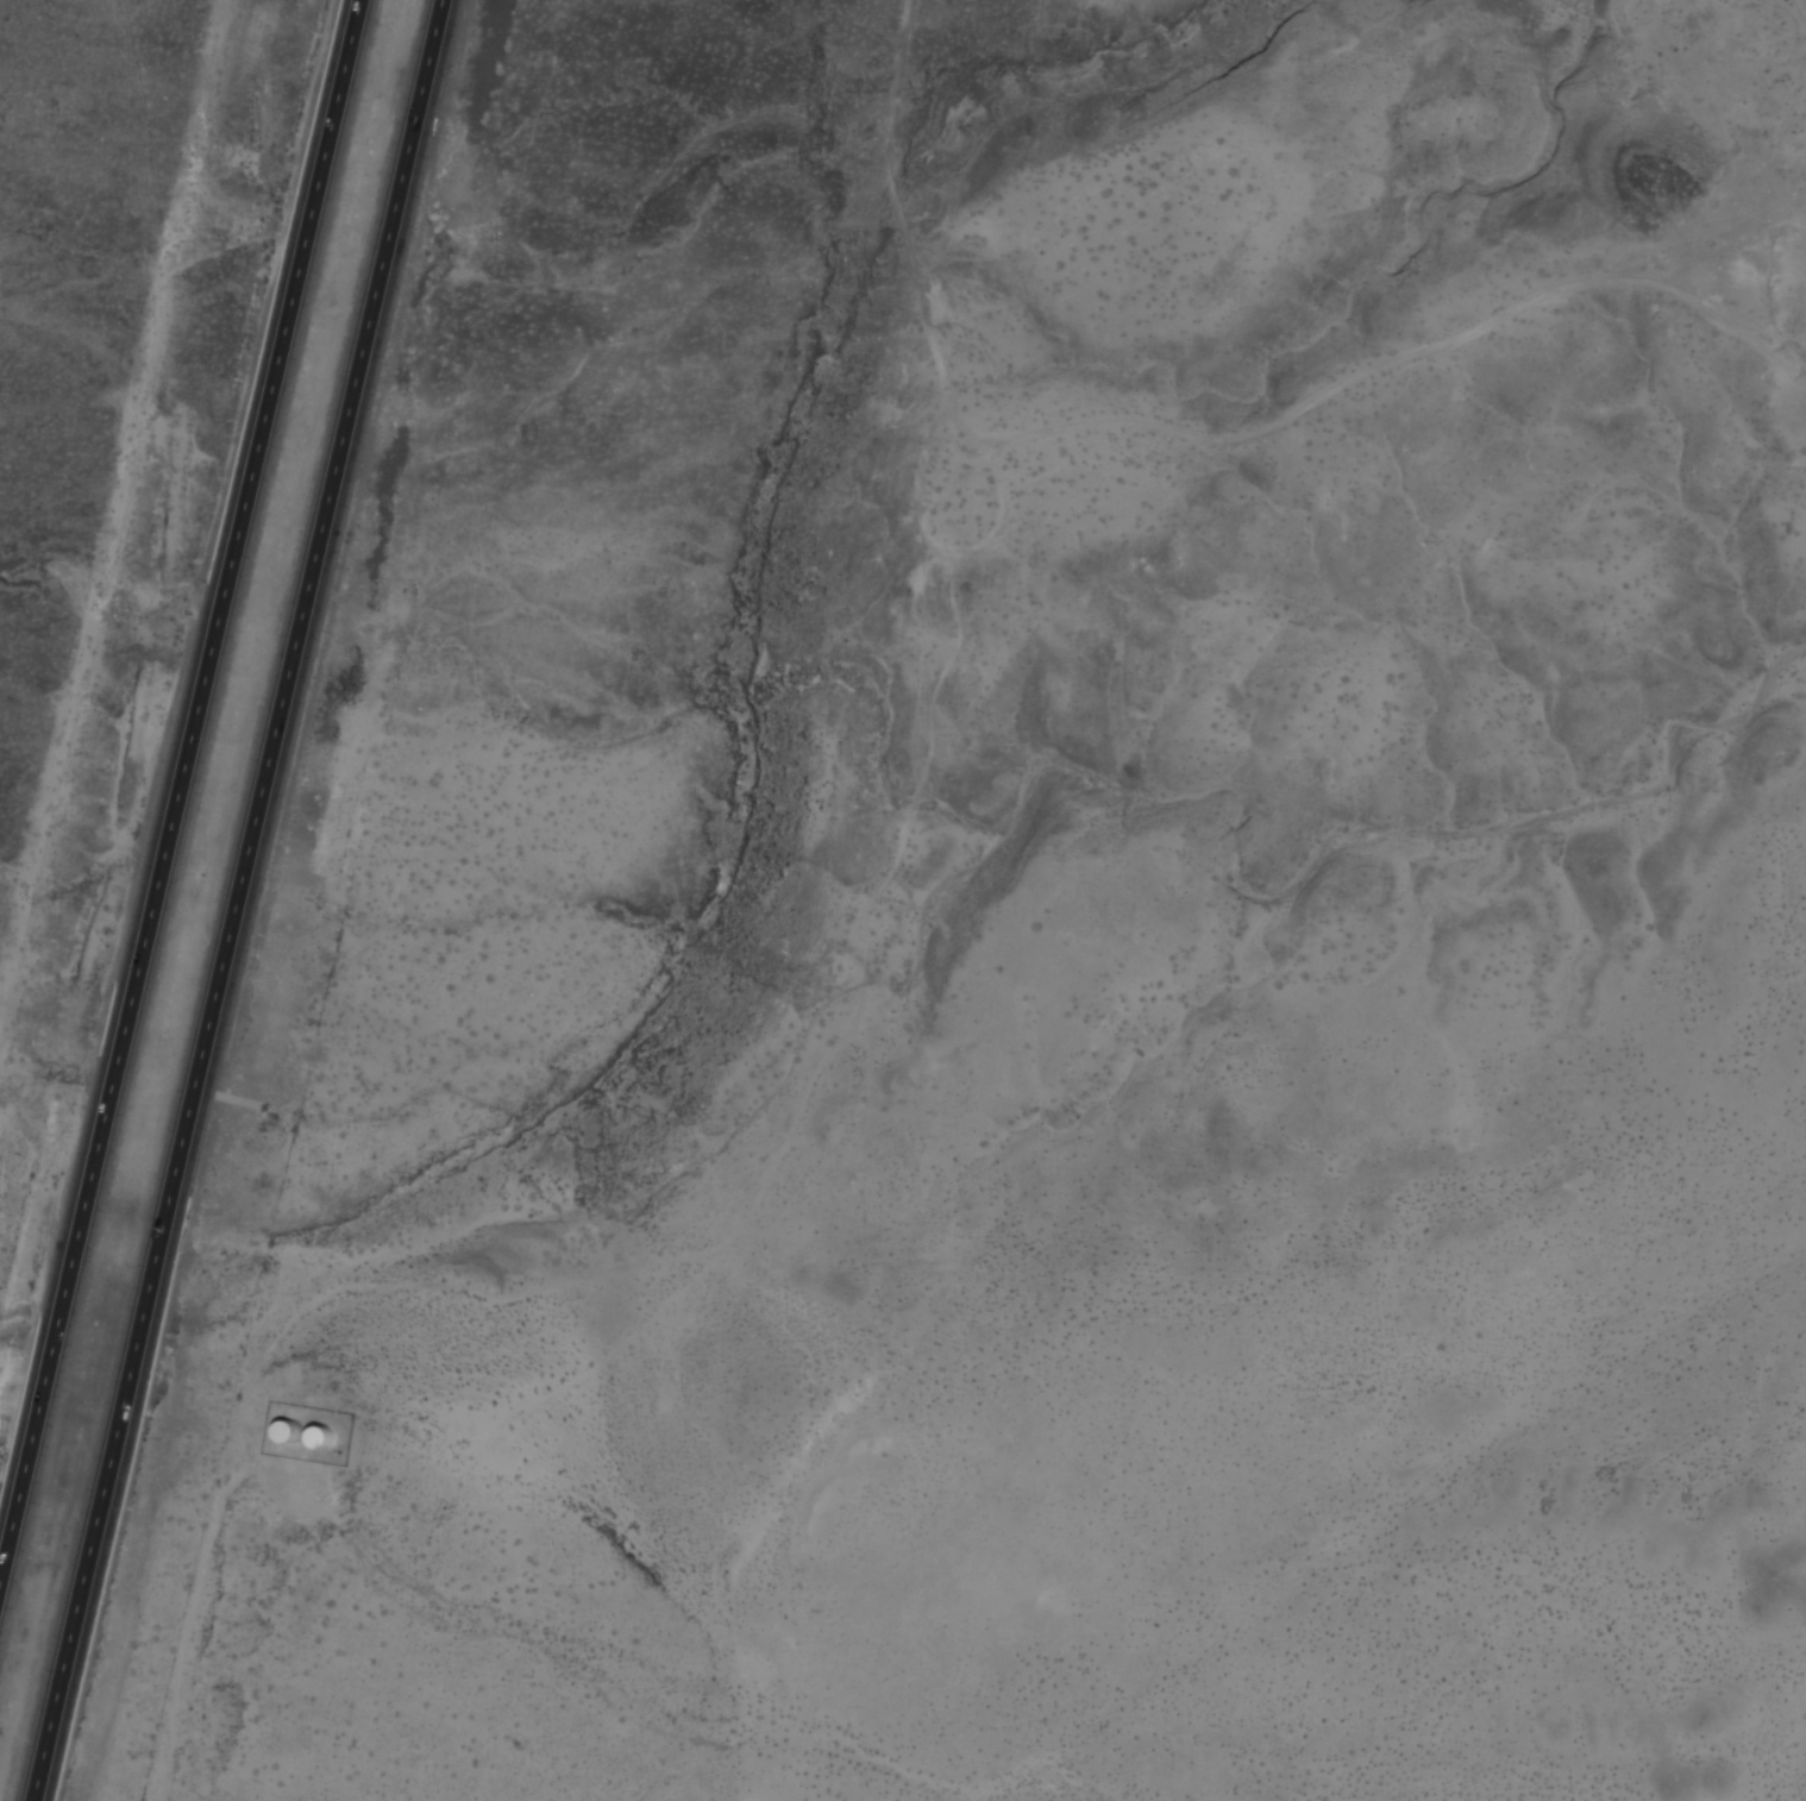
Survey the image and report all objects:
road: (180, 790)
road: (240, 900)

